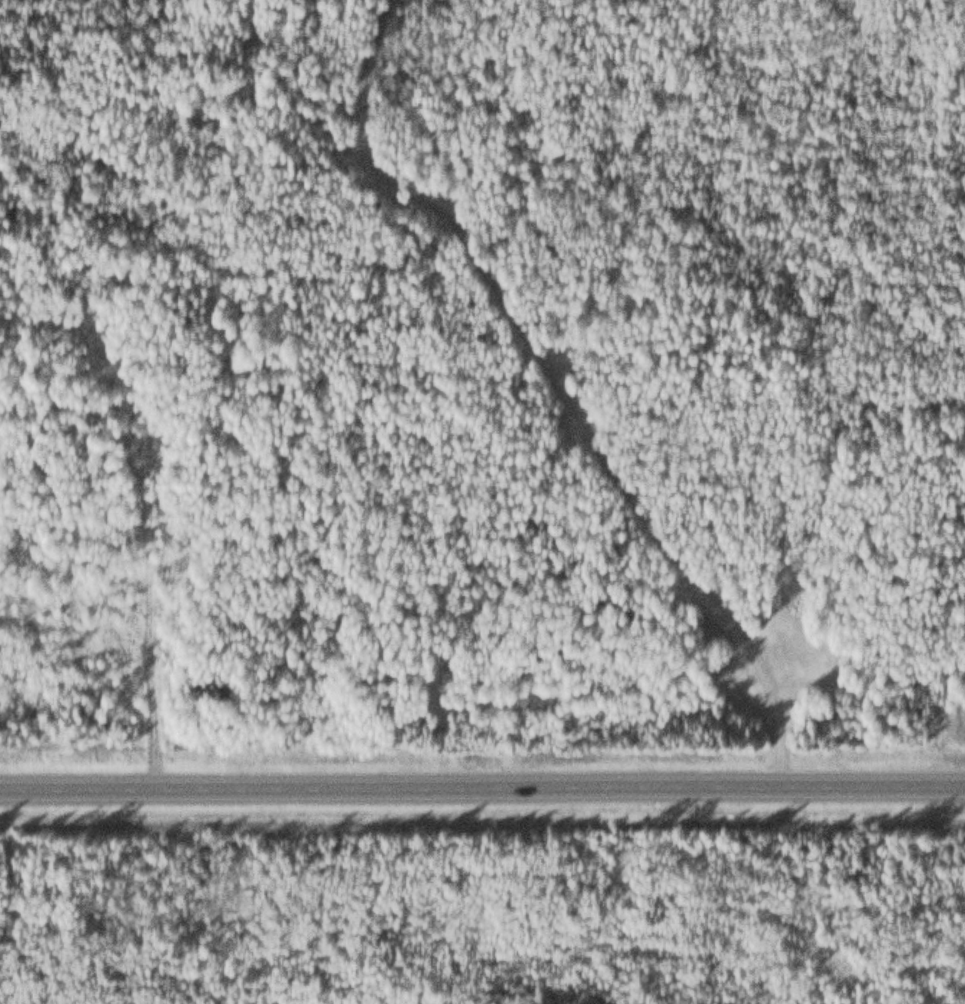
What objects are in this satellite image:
road: (556, 378)
road: (482, 777)
road: (138, 891)

